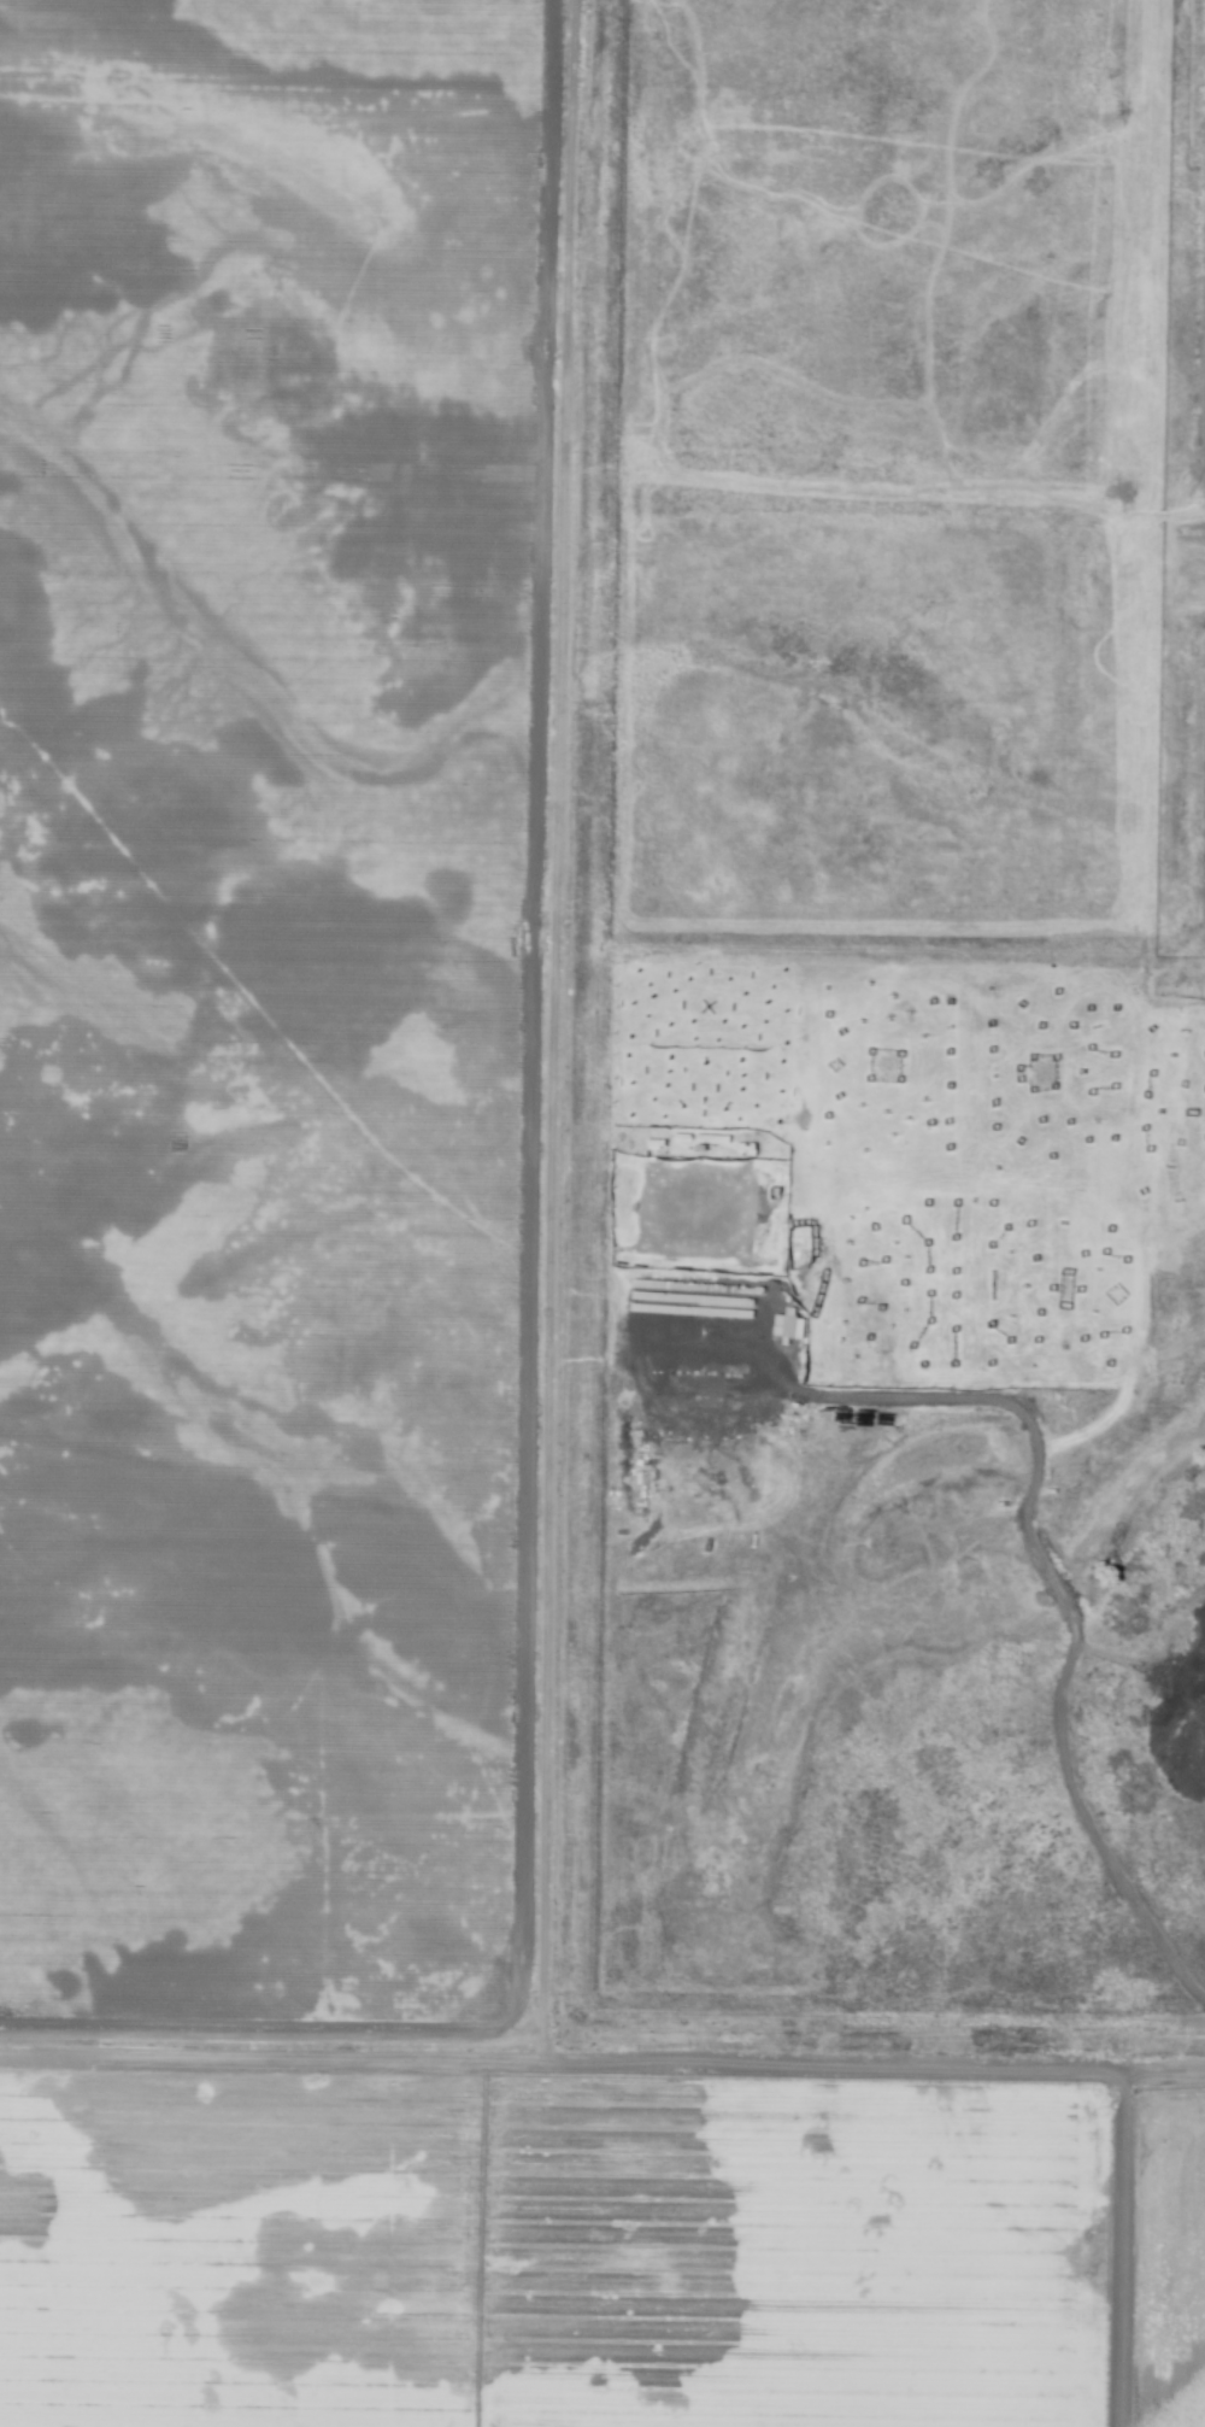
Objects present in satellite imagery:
road: (554, 1284)
building: (789, 1325)
road: (1034, 1547)

